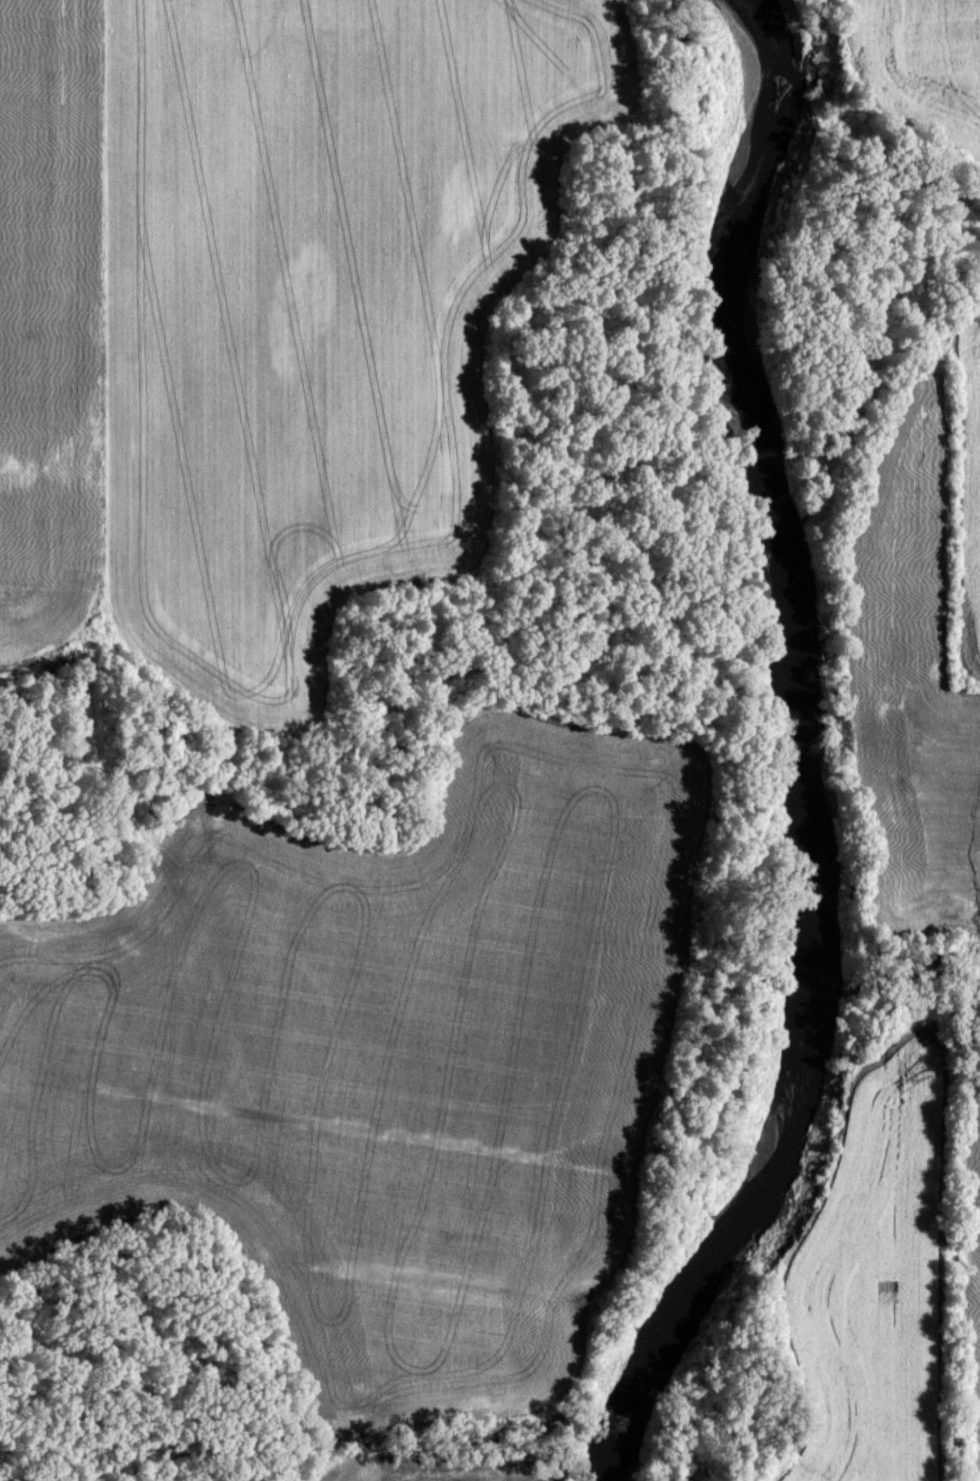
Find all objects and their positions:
river: (811, 760)

